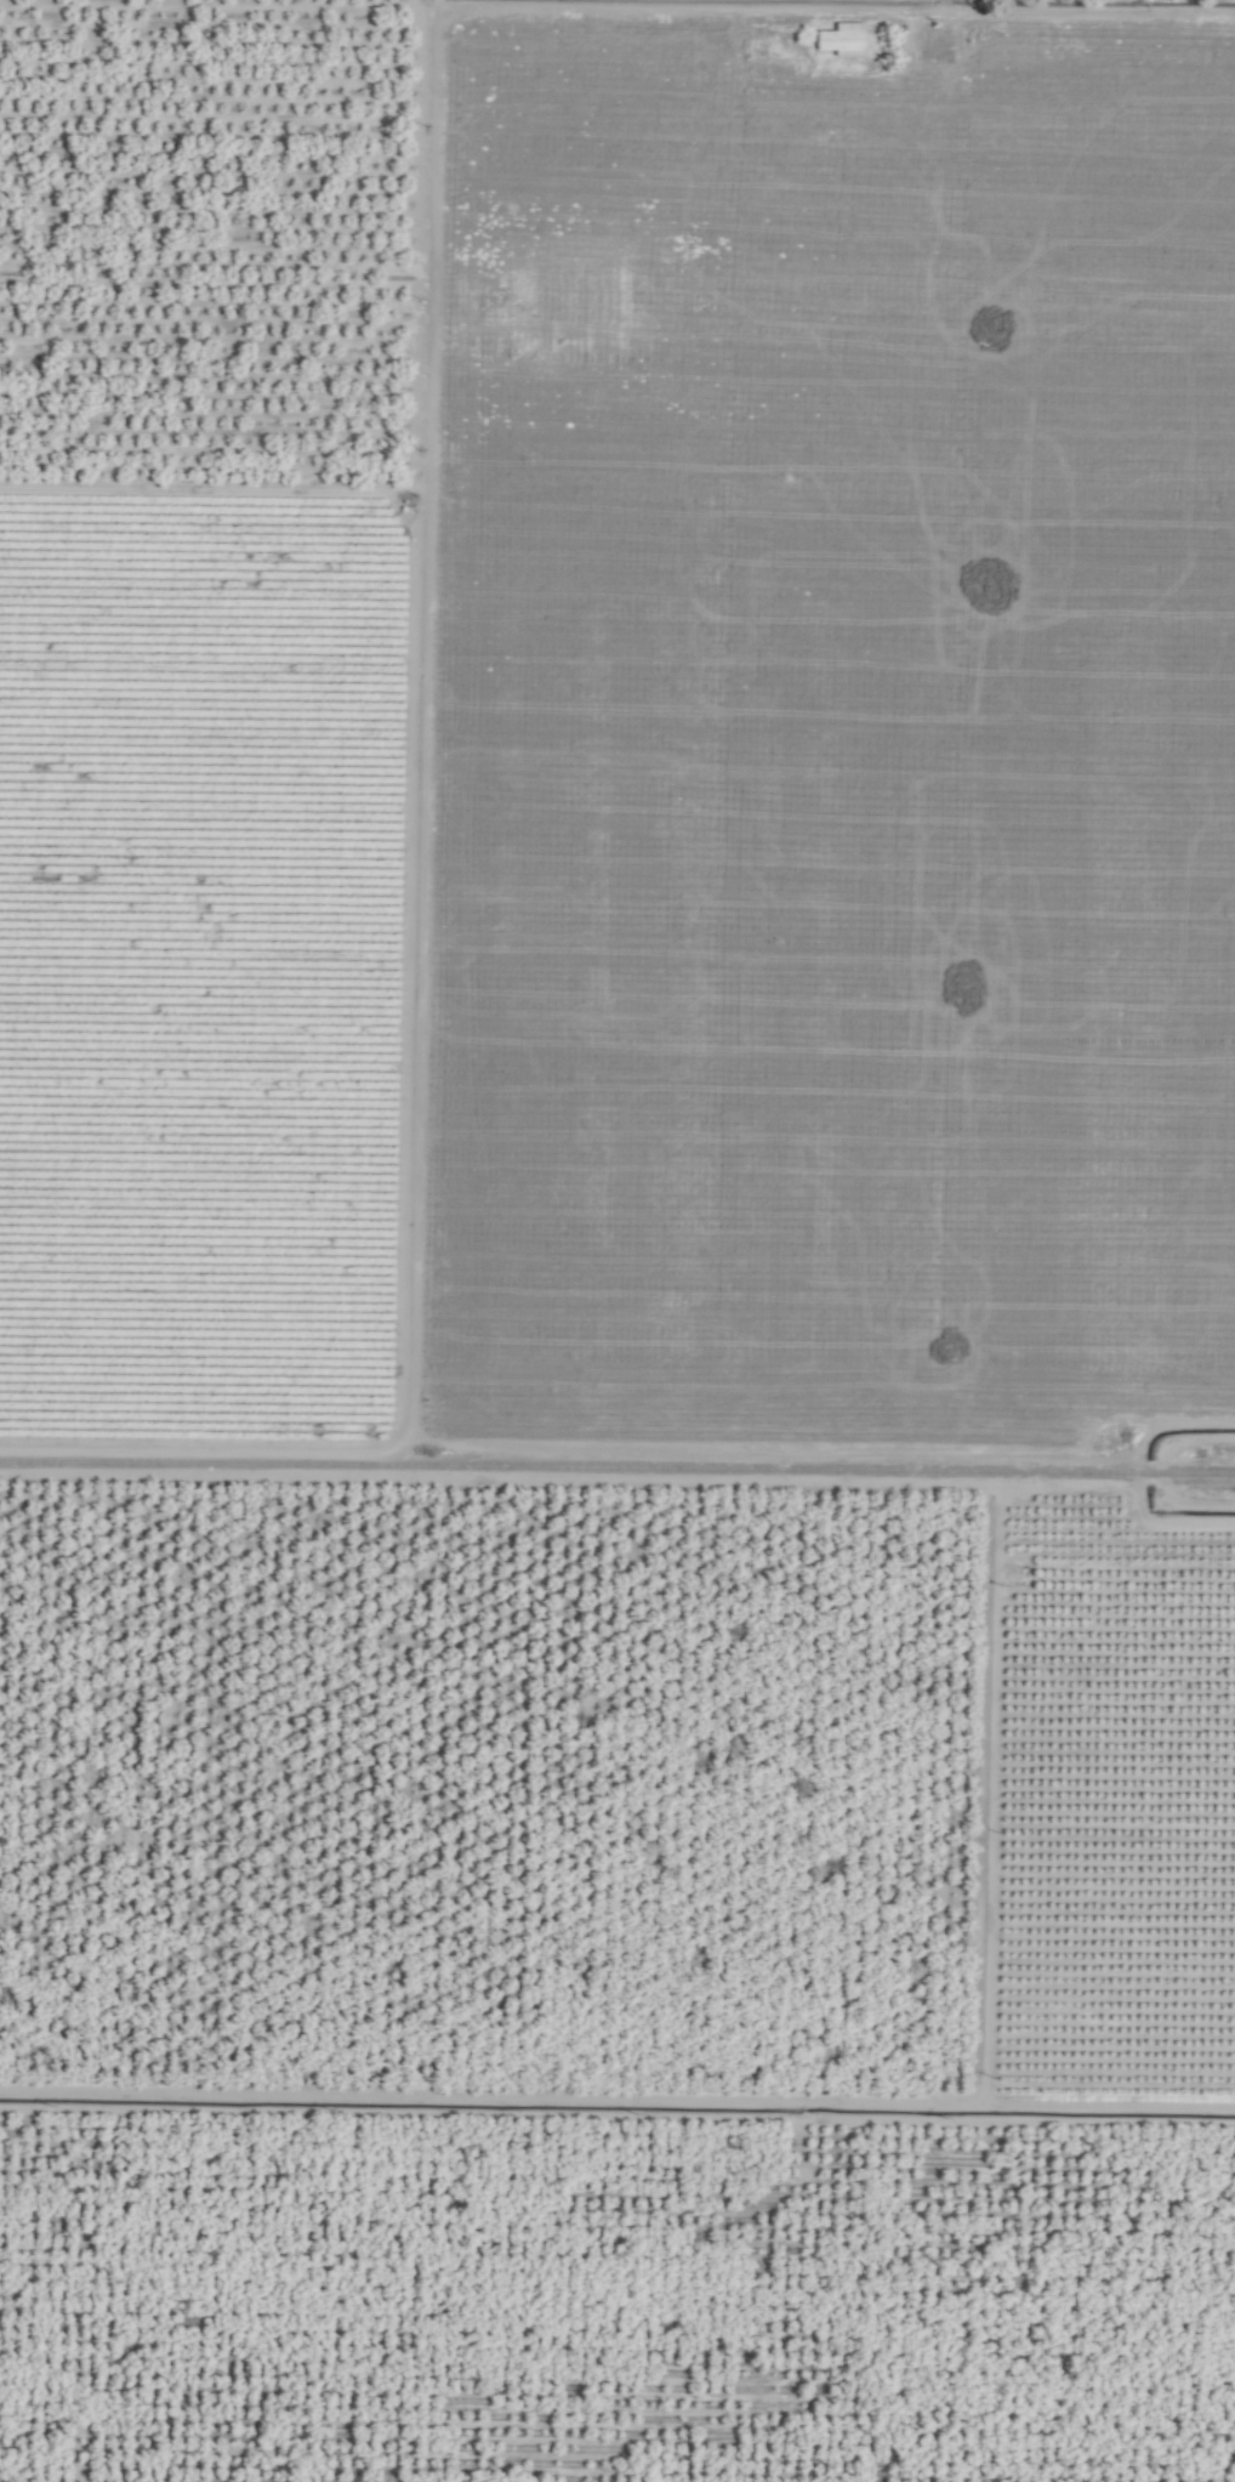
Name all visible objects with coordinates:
road: (1040, 15)
building: (837, 40)
crop: (616, 1242)
railway: (617, 1467)

